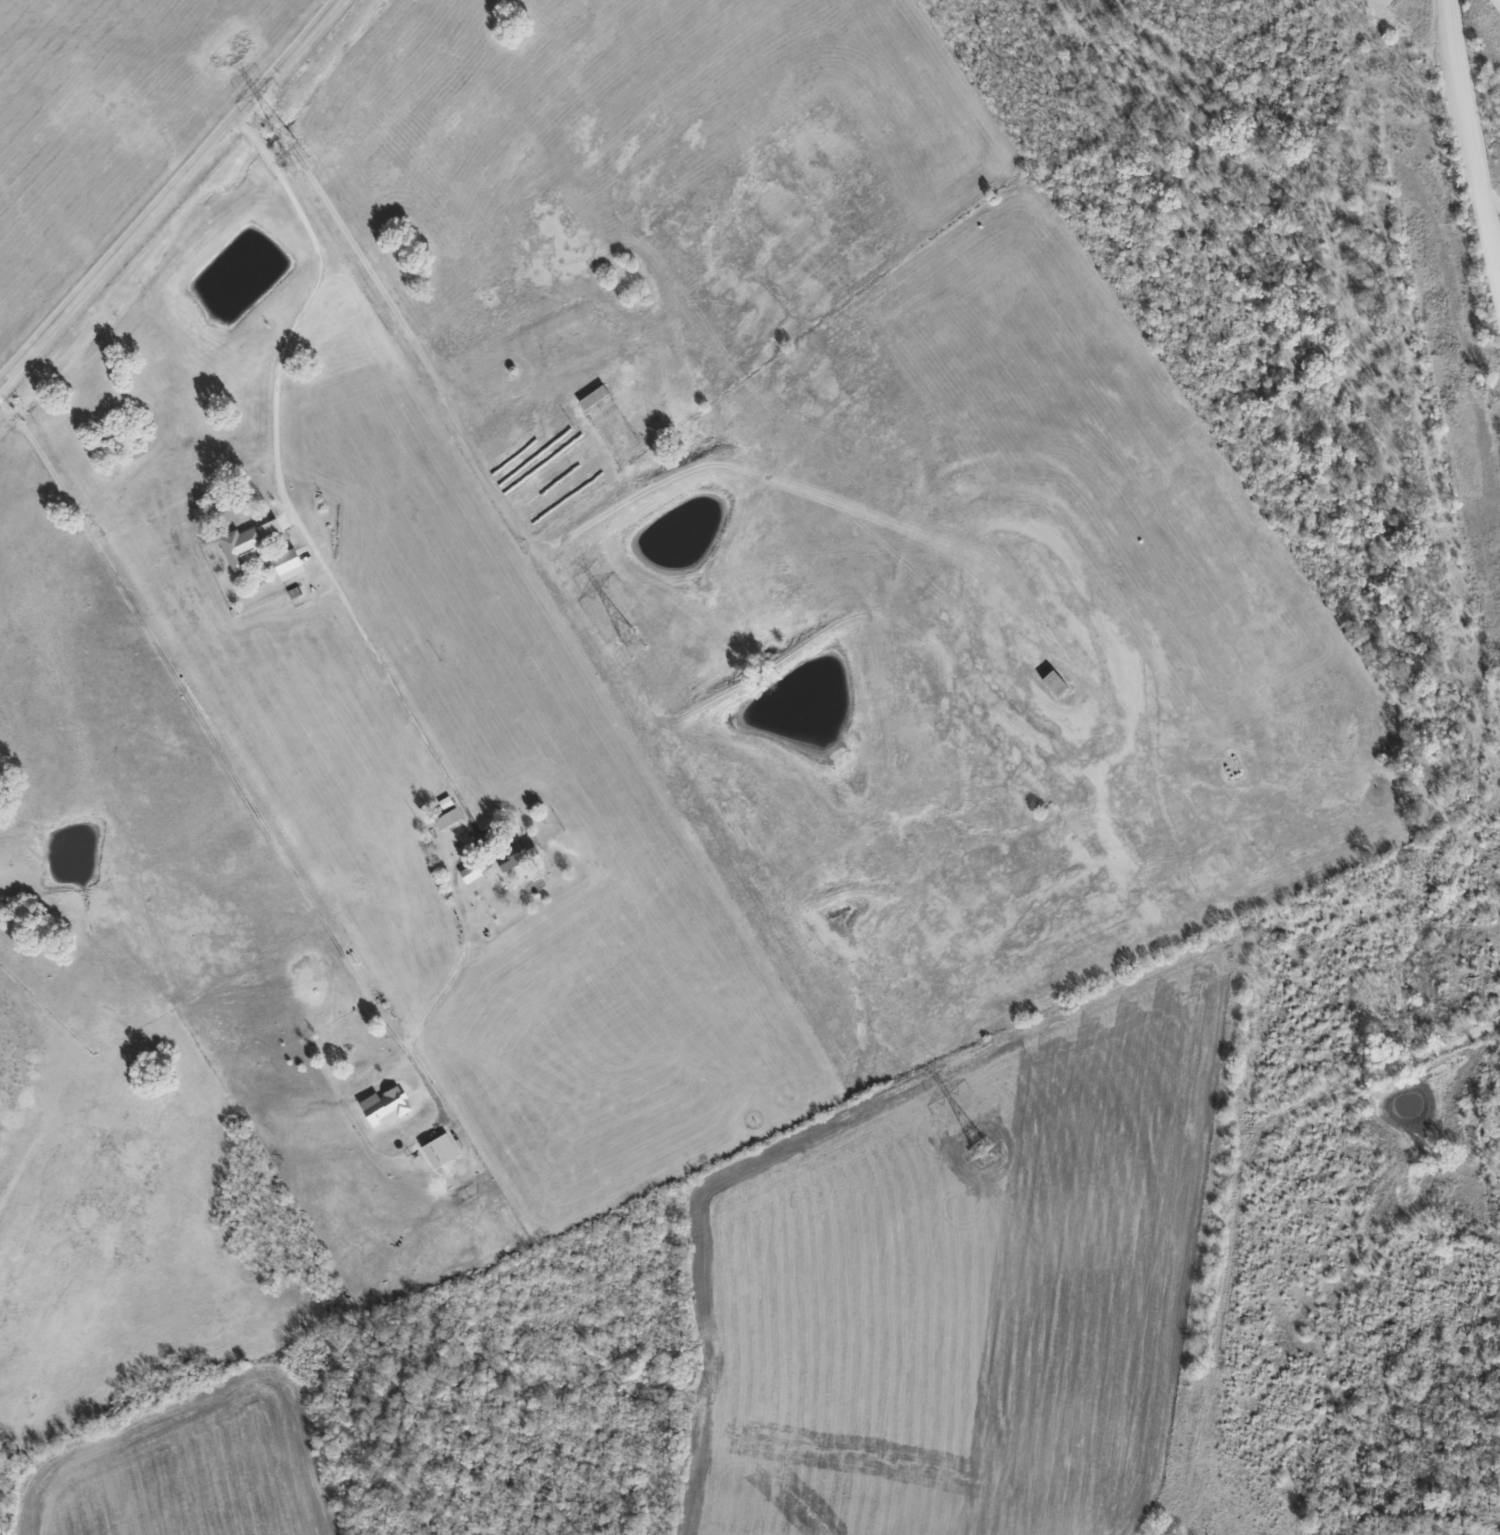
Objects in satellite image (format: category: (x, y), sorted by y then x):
road: (243, 130)
road: (259, 148)
power tower: (294, 154)
road: (170, 192)
road: (3, 406)
road: (14, 419)
building: (248, 542)
building: (290, 565)
power tower: (632, 643)
building: (450, 819)
building: (518, 854)
road: (463, 932)
building: (385, 1107)
building: (442, 1152)
power tower: (983, 1152)

